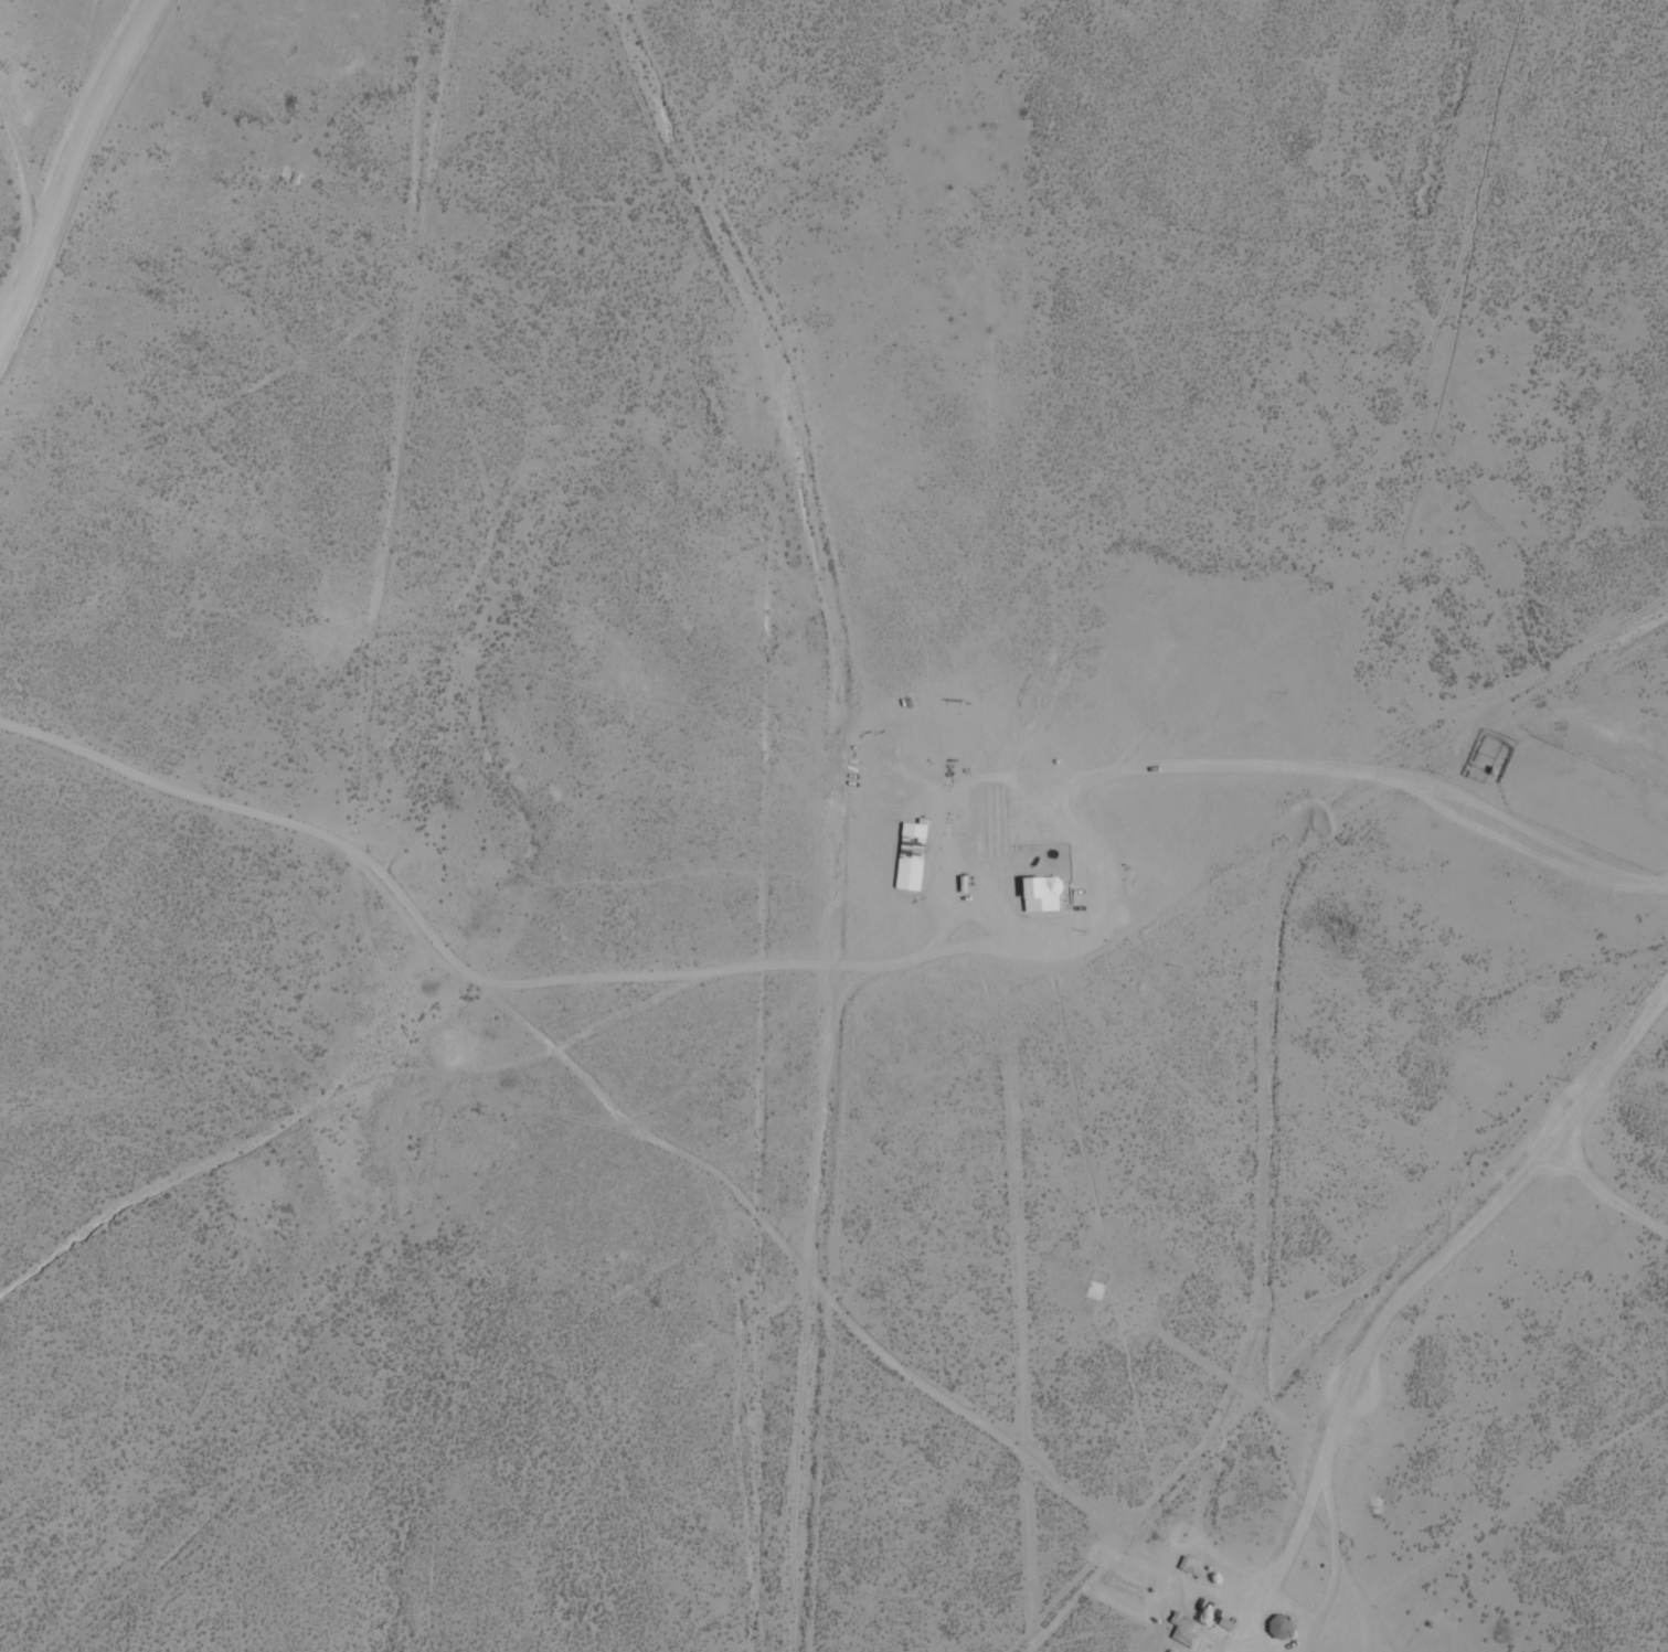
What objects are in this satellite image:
road: (79, 174)
road: (253, 808)
building: (900, 867)
building: (1037, 886)
road: (1213, 921)
road: (1623, 1056)
road: (607, 1091)
road: (1346, 1289)
road: (803, 1464)
road: (1145, 1579)
building: (1277, 1626)
building: (1181, 1630)

